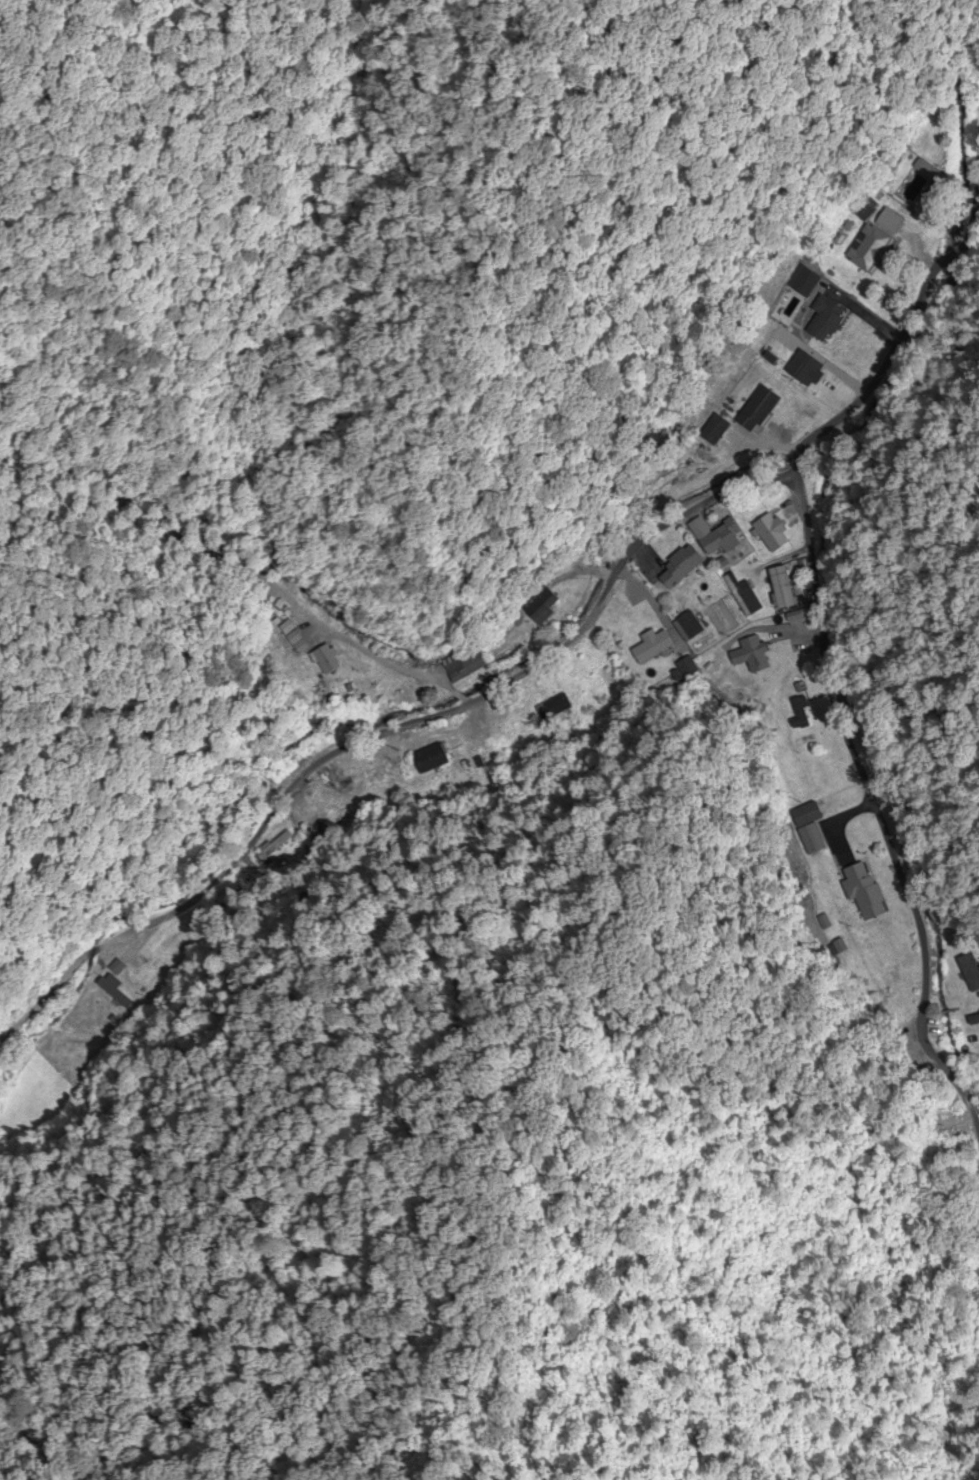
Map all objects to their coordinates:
building: (861, 210)
building: (887, 222)
building: (866, 249)
building: (823, 320)
road: (847, 350)
building: (806, 372)
building: (755, 411)
building: (713, 431)
building: (769, 535)
building: (720, 540)
building: (679, 568)
building: (780, 589)
building: (743, 597)
building: (539, 605)
building: (652, 649)
building: (749, 655)
building: (325, 659)
building: (464, 668)
building: (799, 712)
road: (403, 738)
building: (427, 763)
building: (807, 828)
building: (862, 890)
road: (877, 892)
building: (969, 972)
building: (117, 992)
building: (973, 1021)

